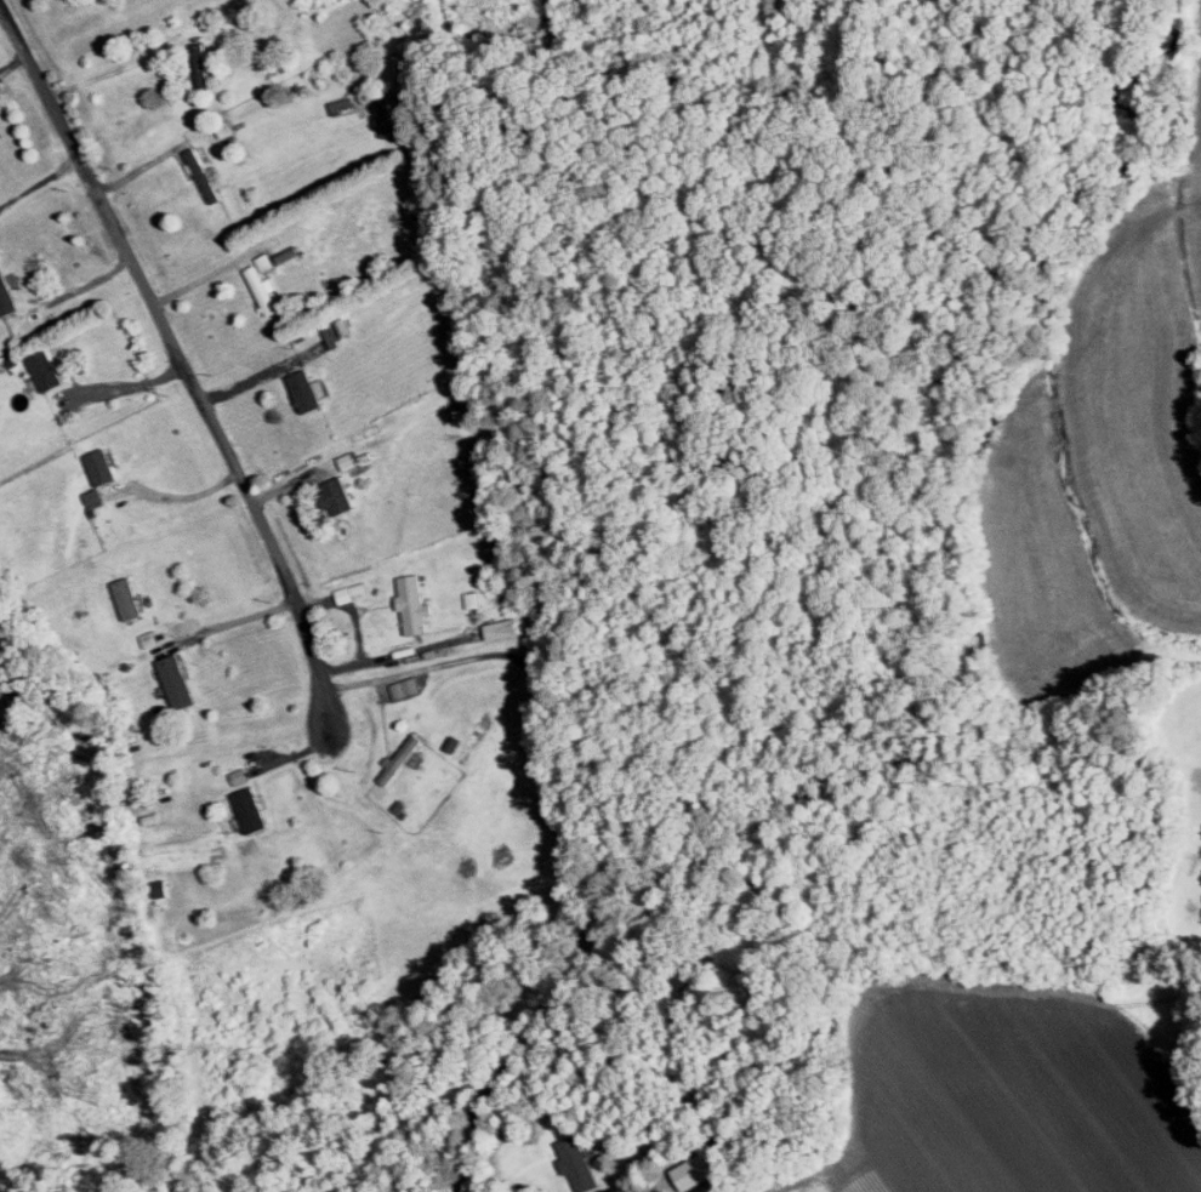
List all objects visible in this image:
building: (200, 65)
building: (343, 103)
building: (387, 115)
building: (203, 173)
building: (264, 261)
building: (263, 289)
building: (6, 293)
building: (337, 330)
road: (180, 357)
building: (46, 367)
building: (308, 388)
building: (101, 464)
building: (336, 494)
building: (129, 597)
building: (472, 598)
building: (415, 603)
road: (234, 620)
building: (503, 627)
building: (178, 679)
building: (405, 686)
building: (402, 757)
building: (251, 808)
road: (558, 839)
building: (577, 1163)
building: (693, 1169)

